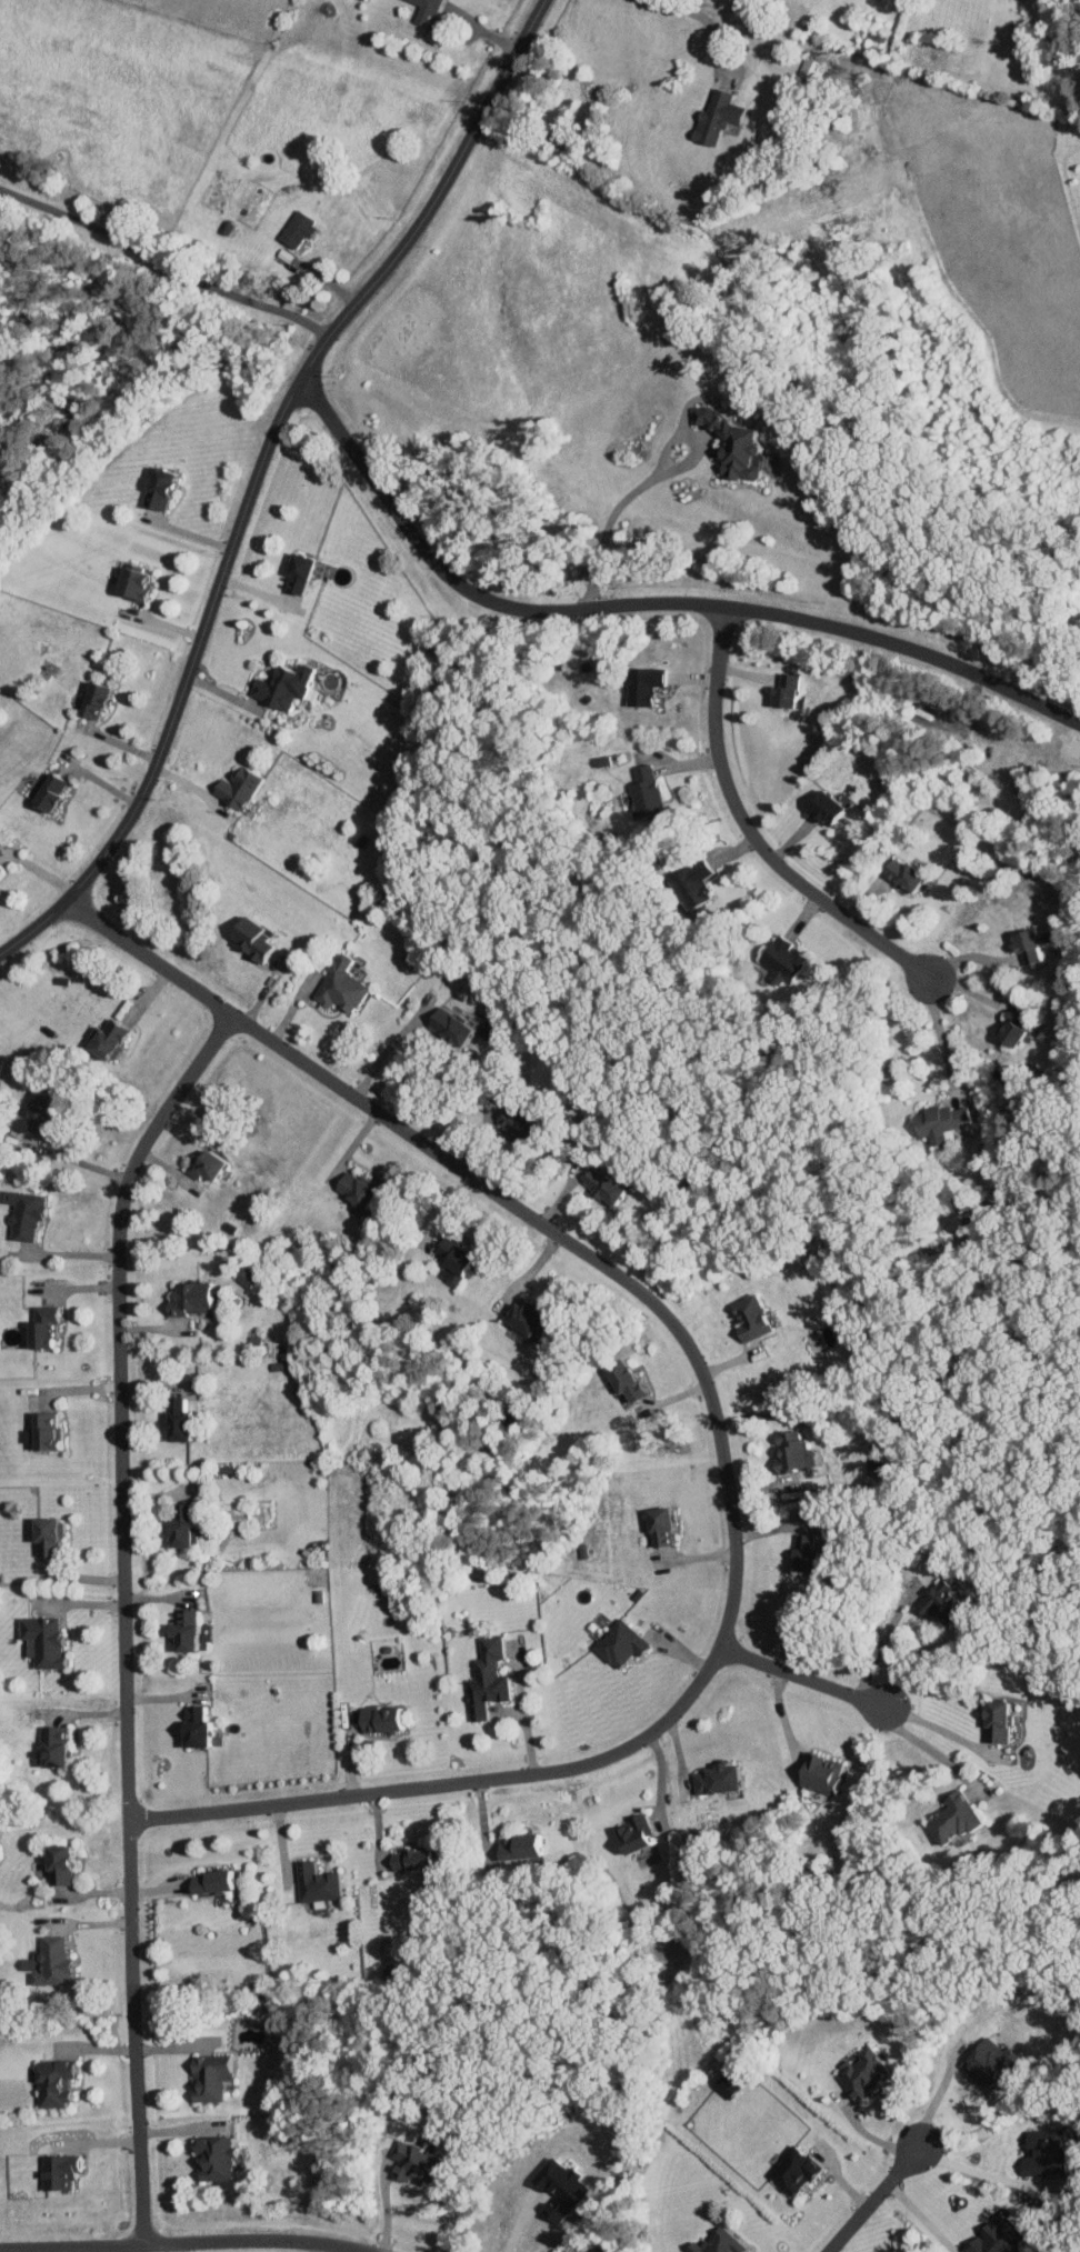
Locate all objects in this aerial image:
building: (423, 10)
road: (699, 14)
building: (810, 68)
building: (714, 114)
building: (296, 228)
road: (162, 263)
building: (730, 443)
road: (260, 473)
road: (644, 483)
building: (156, 487)
building: (294, 572)
building: (130, 581)
road: (643, 604)
building: (640, 684)
building: (782, 691)
building: (90, 700)
building: (600, 761)
building: (234, 788)
building: (47, 791)
building: (646, 791)
building: (821, 808)
road: (751, 832)
building: (900, 874)
building: (694, 883)
building: (250, 940)
building: (1028, 944)
road: (970, 957)
building: (779, 959)
building: (339, 987)
building: (448, 1024)
road: (941, 1033)
building: (1009, 1033)
building: (106, 1039)
road: (384, 1051)
building: (36, 1113)
building: (939, 1122)
building: (518, 1132)
road: (79, 1161)
building: (203, 1163)
building: (598, 1183)
building: (353, 1185)
building: (21, 1212)
building: (244, 1275)
building: (187, 1297)
building: (523, 1317)
building: (749, 1317)
building: (39, 1327)
building: (623, 1379)
building: (173, 1418)
building: (42, 1430)
road: (720, 1434)
building: (791, 1451)
building: (657, 1524)
building: (179, 1525)
building: (44, 1533)
building: (800, 1551)
building: (944, 1599)
road: (124, 1612)
building: (181, 1630)
building: (40, 1639)
building: (618, 1642)
road: (881, 1647)
building: (484, 1677)
road: (804, 1678)
building: (378, 1719)
road: (523, 1720)
building: (993, 1720)
building: (191, 1724)
road: (937, 1726)
building: (50, 1744)
road: (929, 1755)
building: (819, 1773)
building: (712, 1778)
building: (951, 1816)
building: (630, 1832)
building: (517, 1845)
building: (409, 1860)
building: (56, 1863)
building: (211, 1881)
building: (313, 1881)
building: (47, 1962)
building: (986, 2061)
building: (860, 2070)
building: (208, 2075)
building: (51, 2082)
building: (723, 2084)
road: (937, 2096)
building: (1041, 2155)
building: (212, 2158)
building: (412, 2162)
building: (57, 2170)
building: (791, 2170)
road: (973, 2172)
building: (559, 2189)
road: (873, 2200)
road: (384, 2203)
road: (919, 2219)
road: (514, 2222)
building: (996, 2234)
road: (178, 2241)
building: (718, 2241)
road: (178, 2246)
road: (313, 2246)

